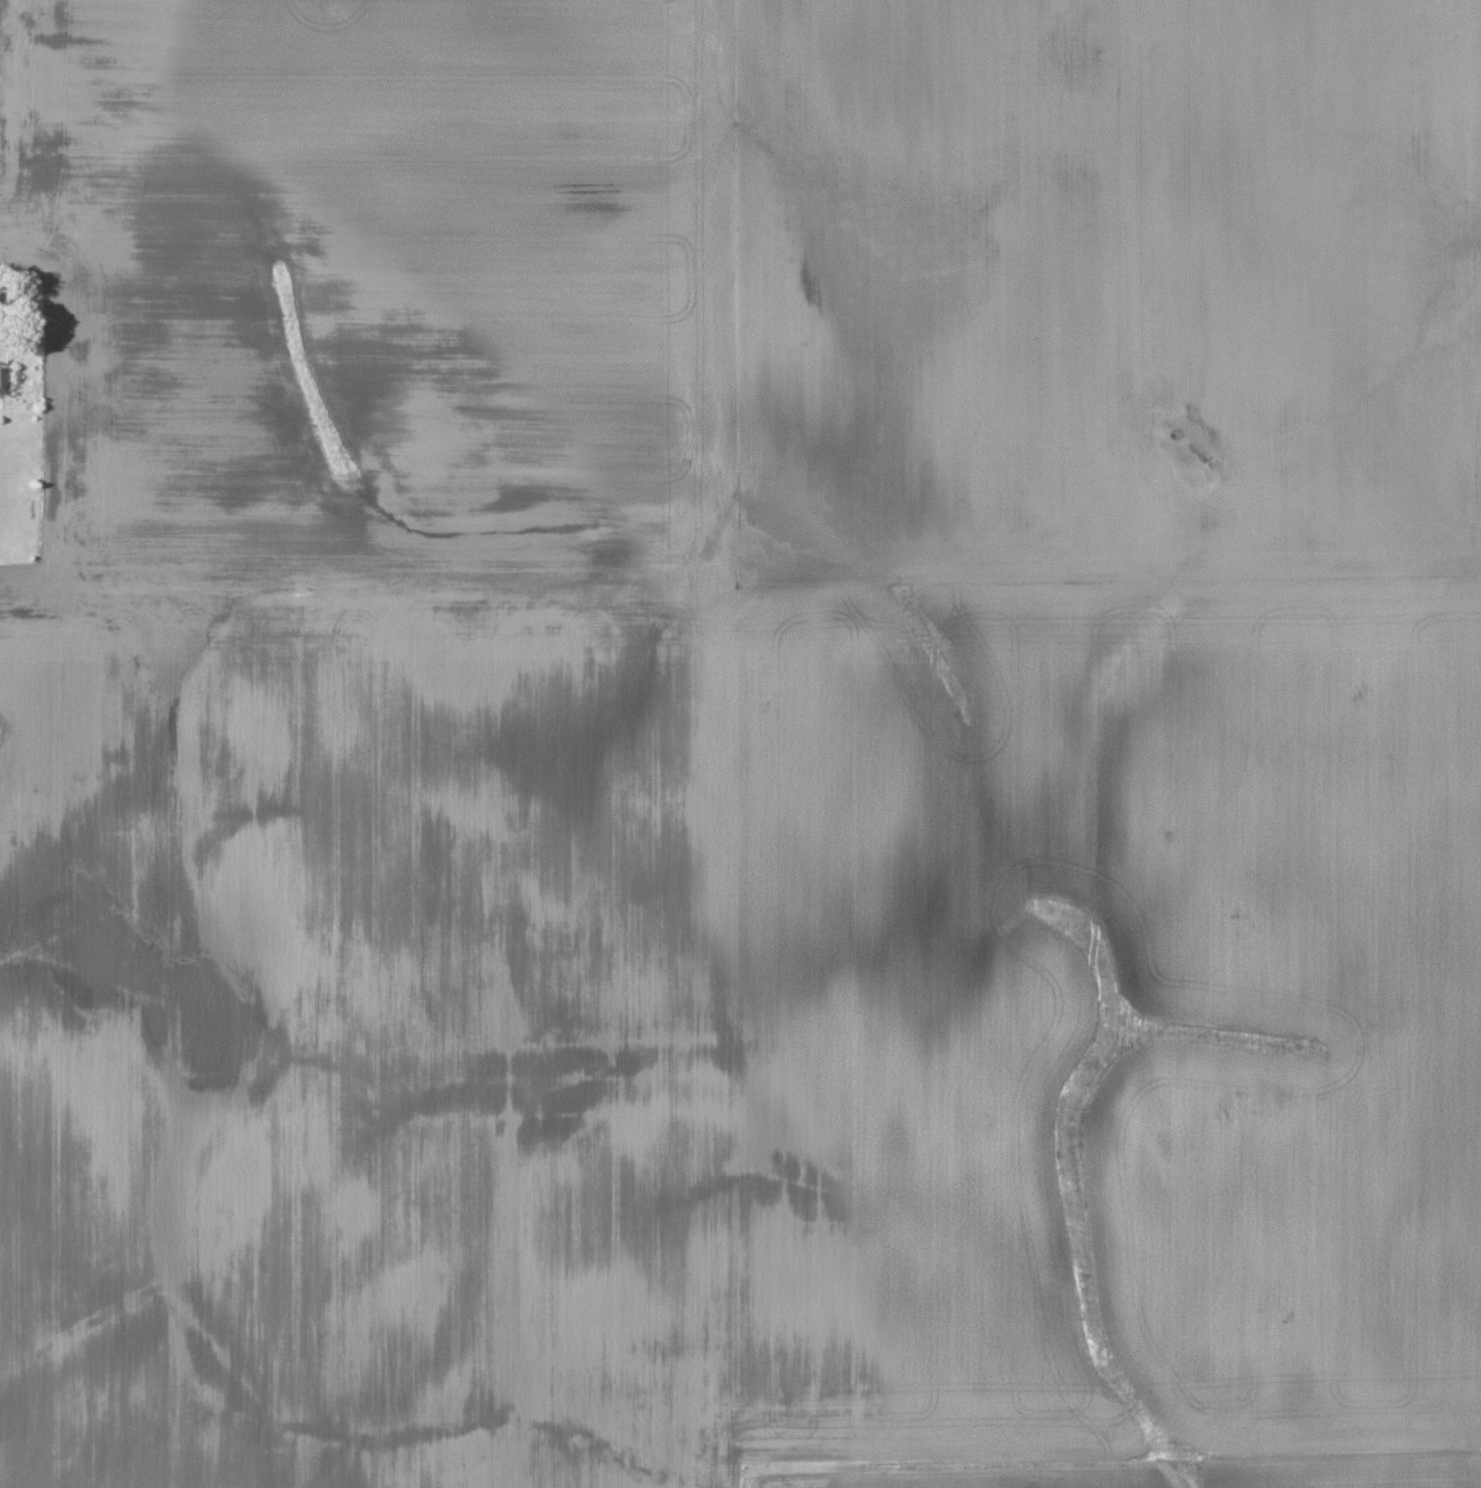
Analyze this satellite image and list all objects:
building: (3, 385)

